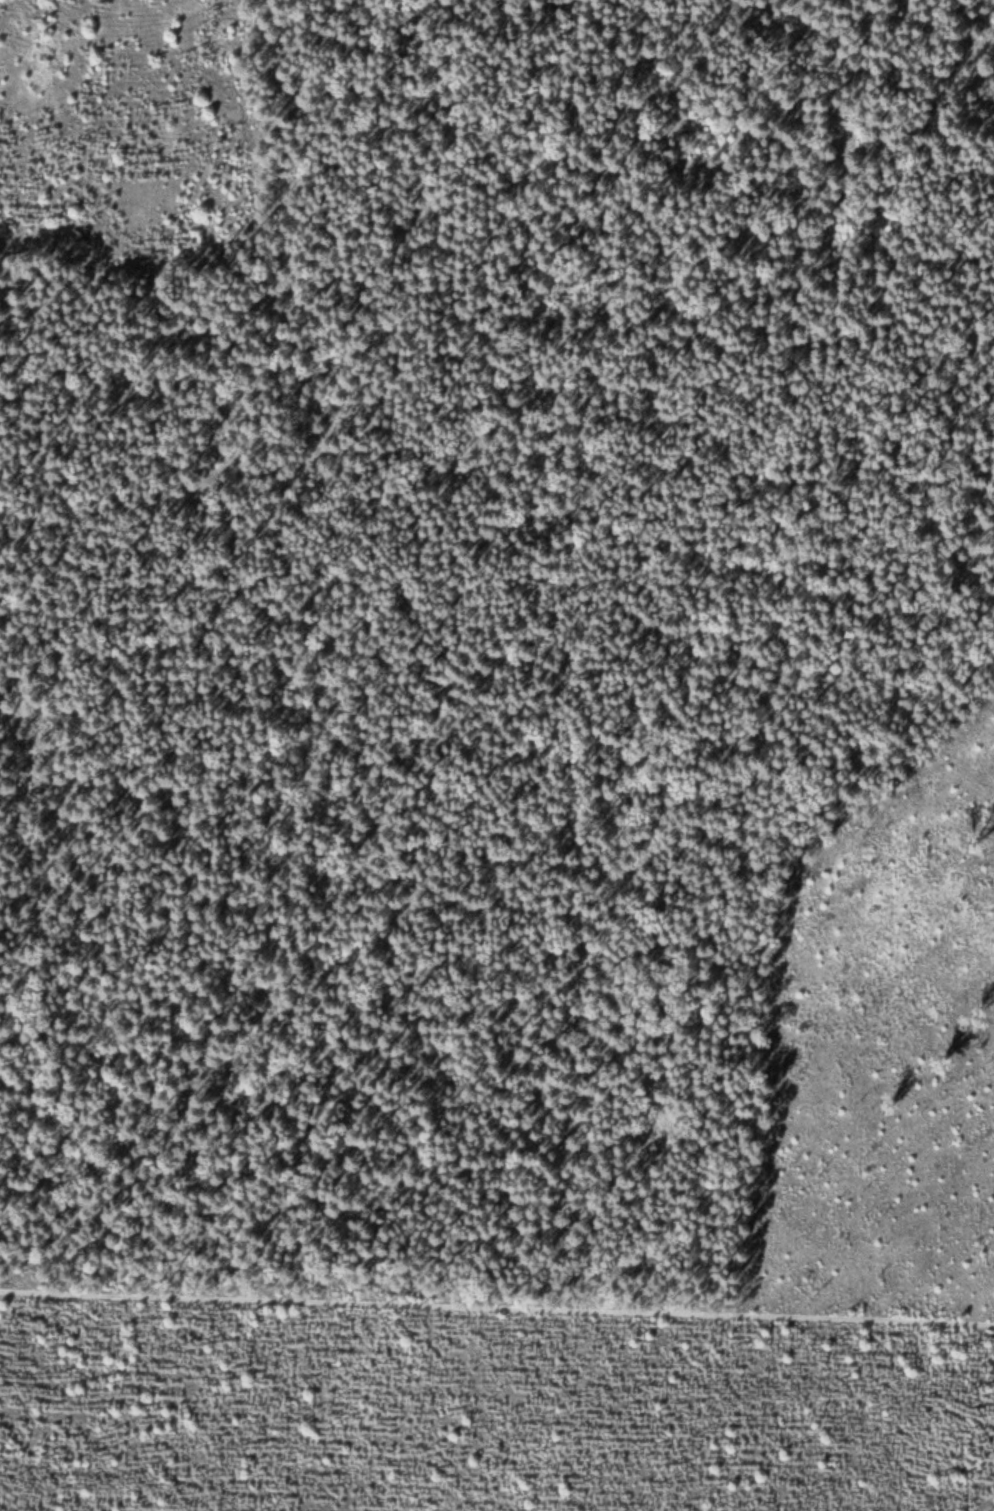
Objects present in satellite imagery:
road: (231, 256)
road: (497, 1304)

